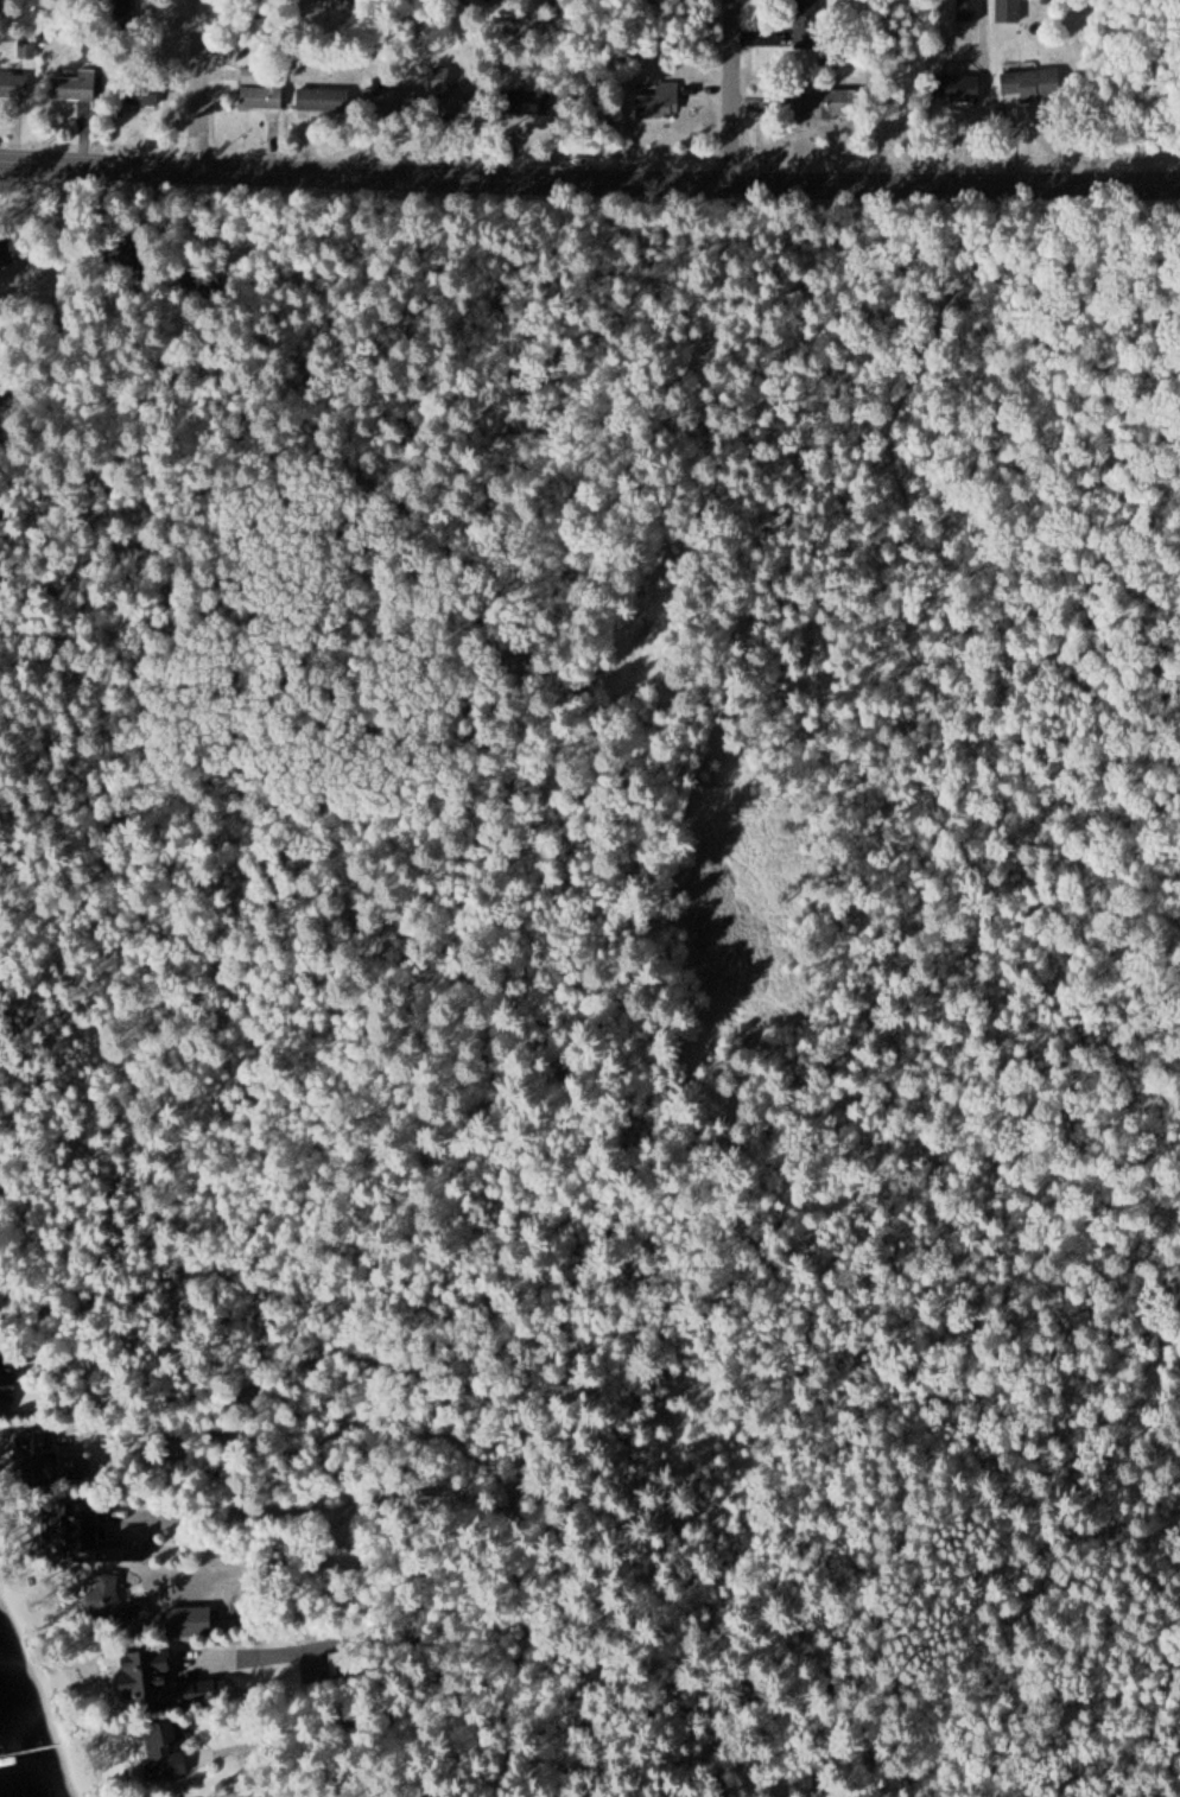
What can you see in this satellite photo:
building: (121, 7)
building: (970, 9)
building: (806, 24)
road: (507, 38)
building: (28, 47)
road: (194, 84)
building: (1032, 84)
building: (14, 85)
building: (76, 88)
building: (956, 88)
road: (731, 89)
building: (261, 90)
building: (138, 96)
building: (388, 100)
building: (324, 101)
building: (661, 102)
building: (820, 103)
road: (589, 178)
road: (65, 471)
road: (27, 1153)
building: (6, 1383)
building: (49, 1460)
building: (96, 1536)
road: (204, 1548)
building: (118, 1607)
building: (166, 1682)
road: (368, 1700)
building: (165, 1748)

